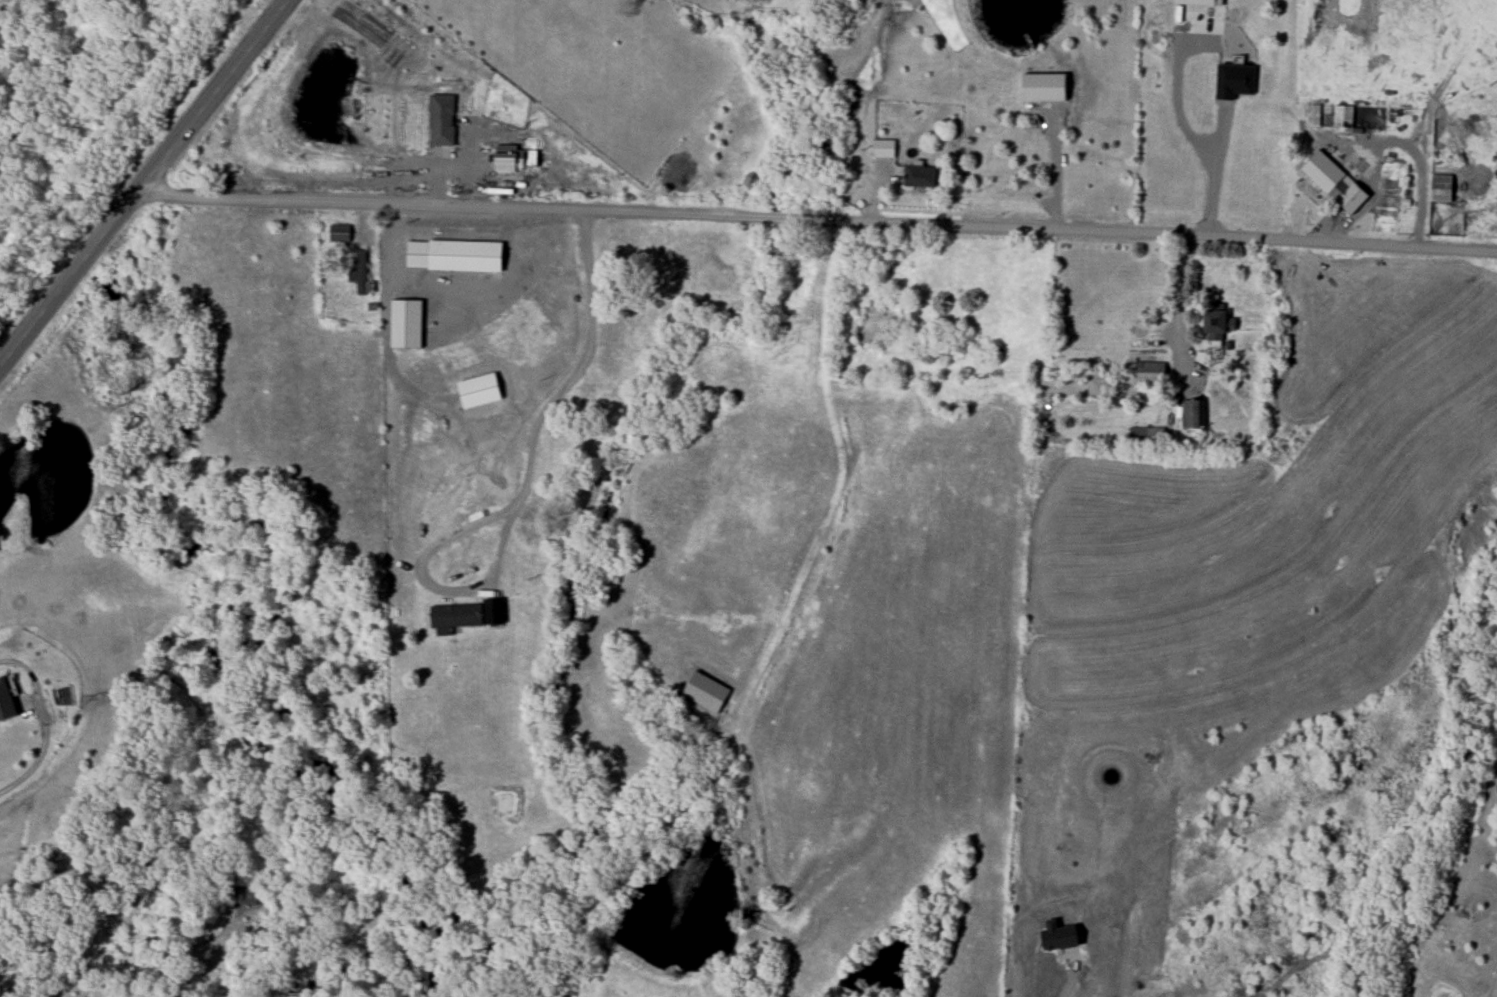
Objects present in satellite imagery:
building: (441, 119)
building: (1338, 143)
building: (883, 148)
road: (1043, 173)
building: (1322, 173)
road: (1206, 174)
building: (919, 176)
road: (142, 181)
road: (817, 218)
building: (339, 233)
building: (454, 255)
building: (358, 270)
road: (515, 274)
road: (1182, 309)
building: (406, 324)
building: (1217, 326)
road: (581, 373)
building: (1150, 373)
building: (478, 390)
building: (1192, 414)
building: (1146, 437)
road: (432, 544)
river: (269, 567)
building: (454, 618)
building: (706, 692)
building: (6, 703)
road: (15, 775)

